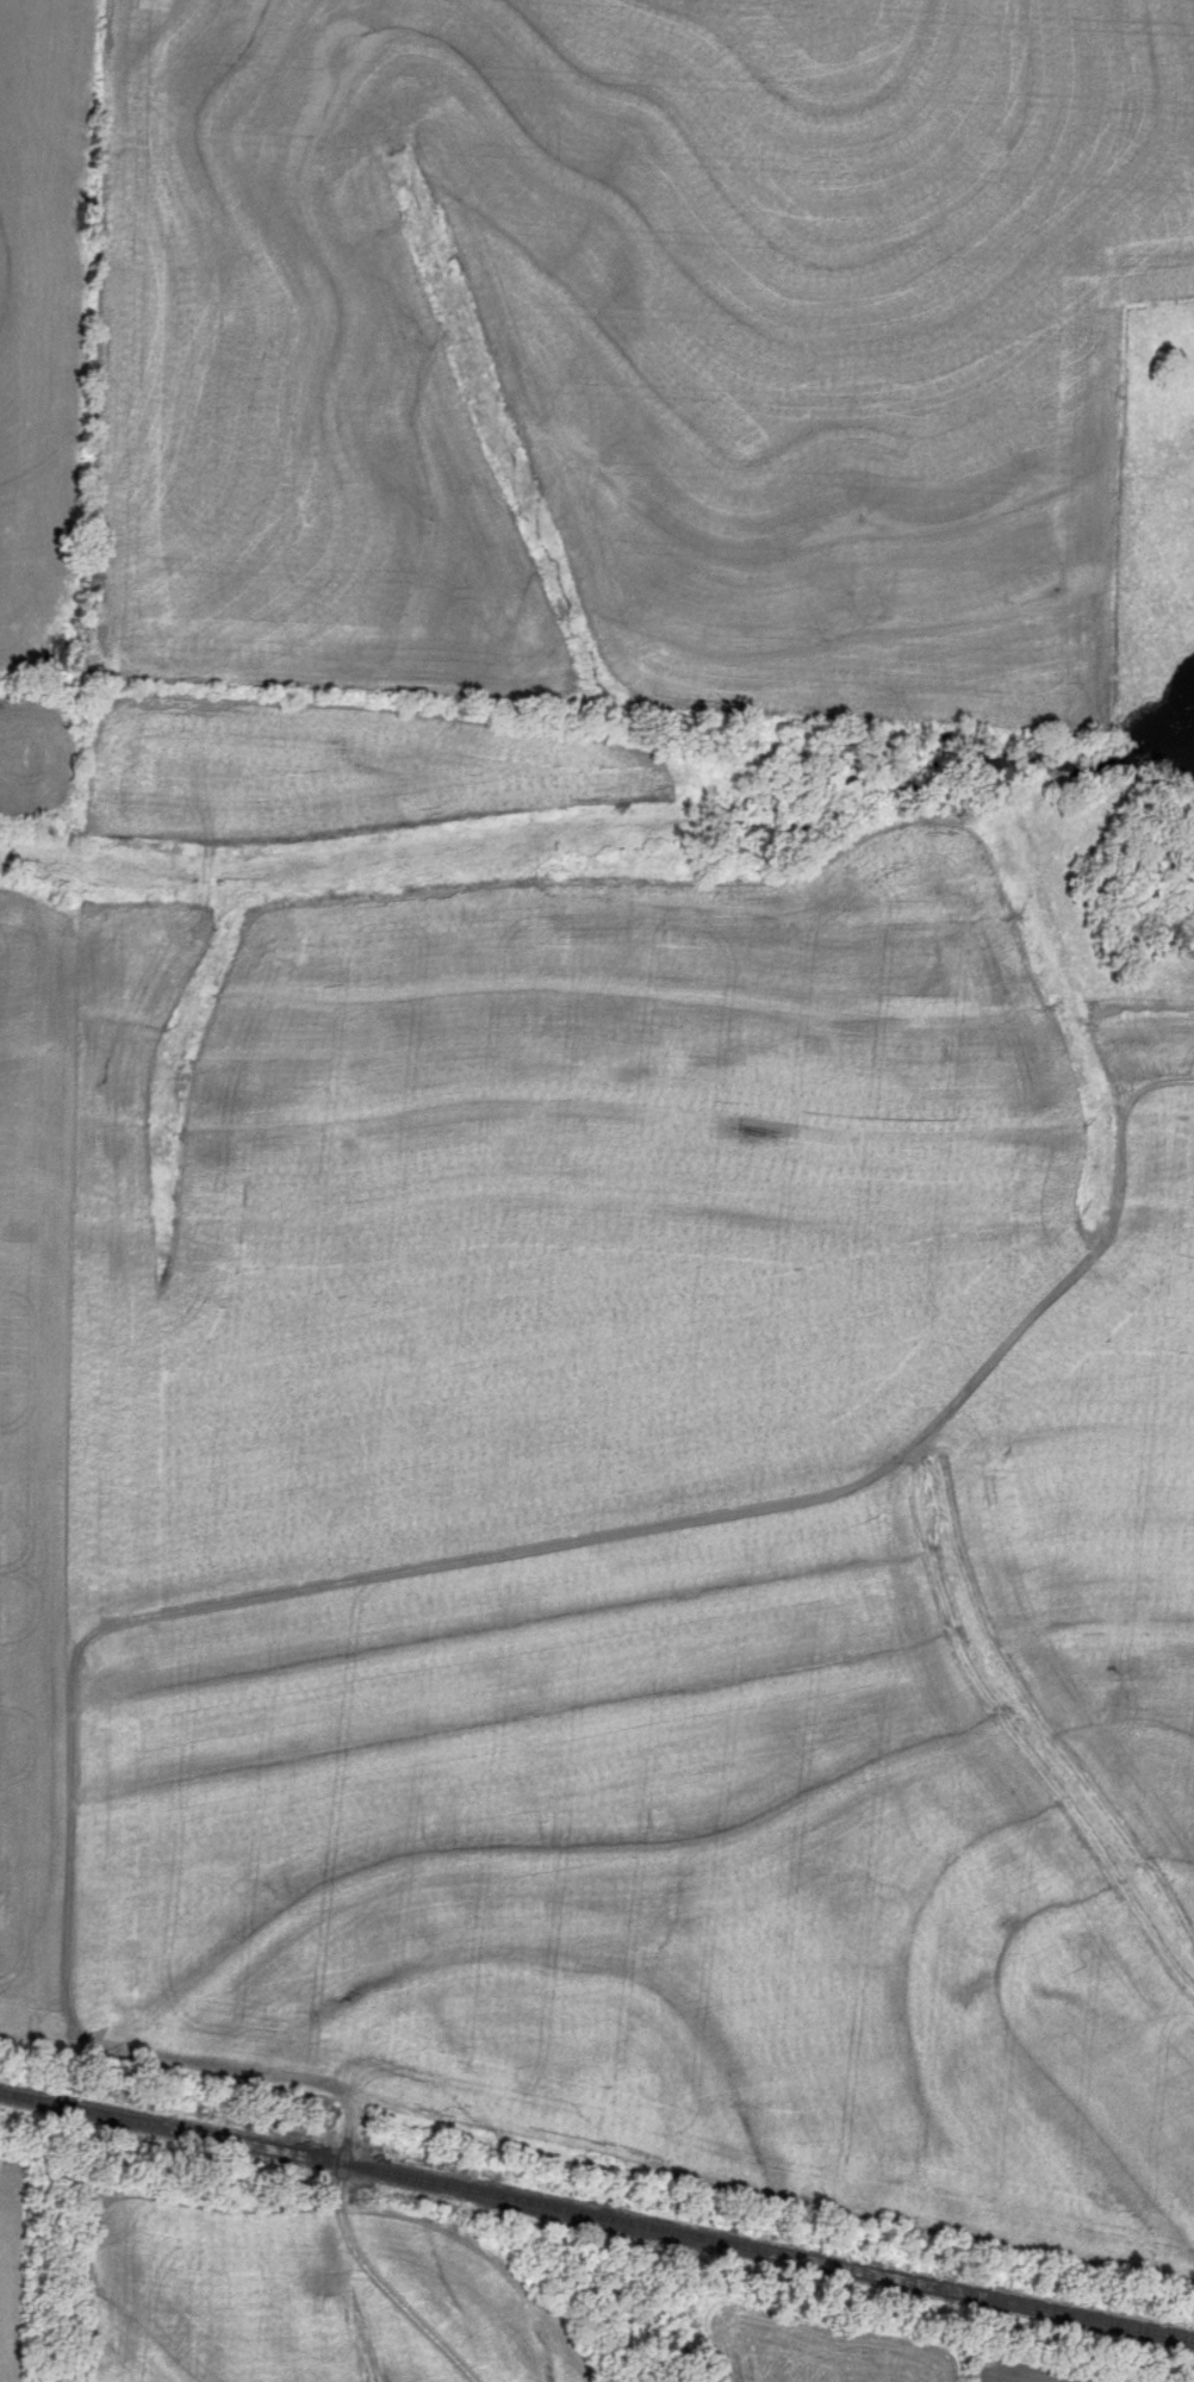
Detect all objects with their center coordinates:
railway: (597, 2219)

